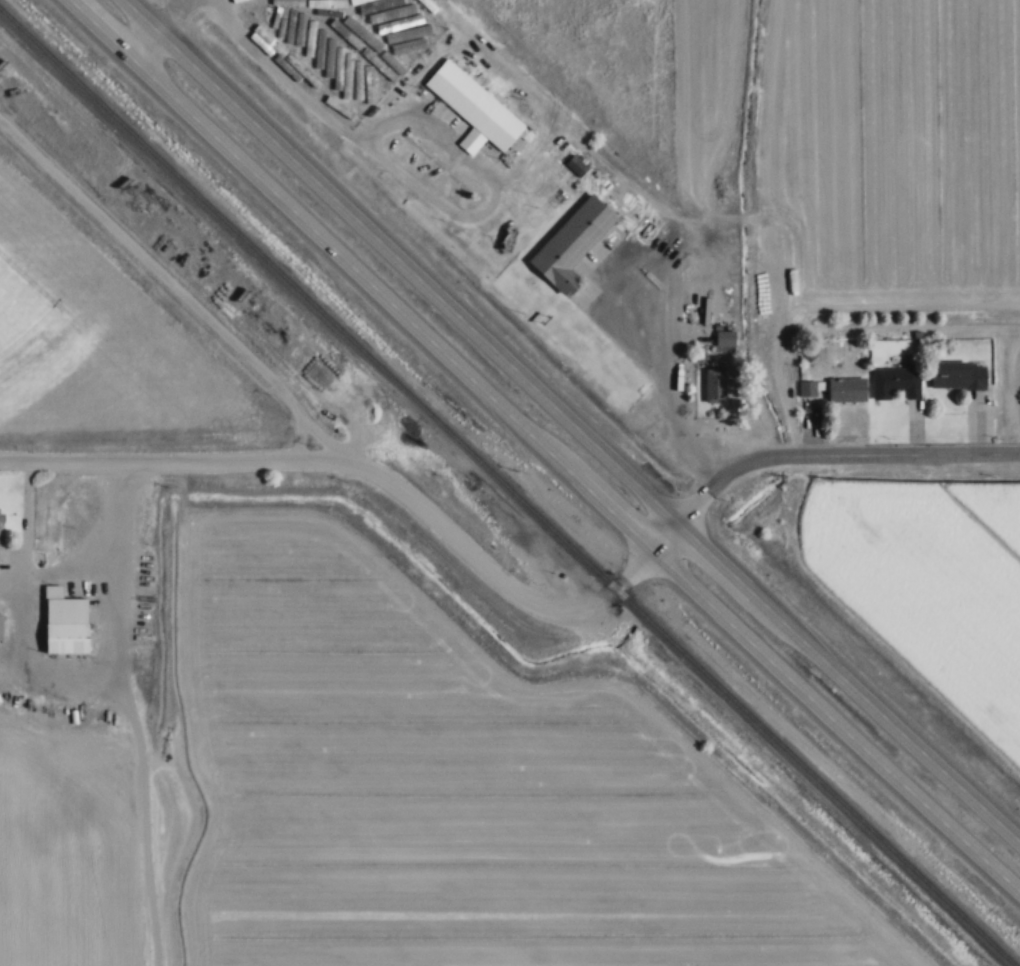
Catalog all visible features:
building: (398, 22)
road: (167, 29)
building: (379, 56)
road: (284, 63)
building: (473, 104)
road: (464, 200)
building: (571, 243)
road: (839, 326)
building: (724, 338)
building: (957, 375)
road: (664, 379)
building: (896, 381)
building: (714, 385)
building: (807, 388)
building: (846, 390)
road: (573, 419)
road: (545, 446)
road: (838, 452)
road: (380, 474)
railway: (508, 486)
building: (64, 622)
building: (0, 625)

